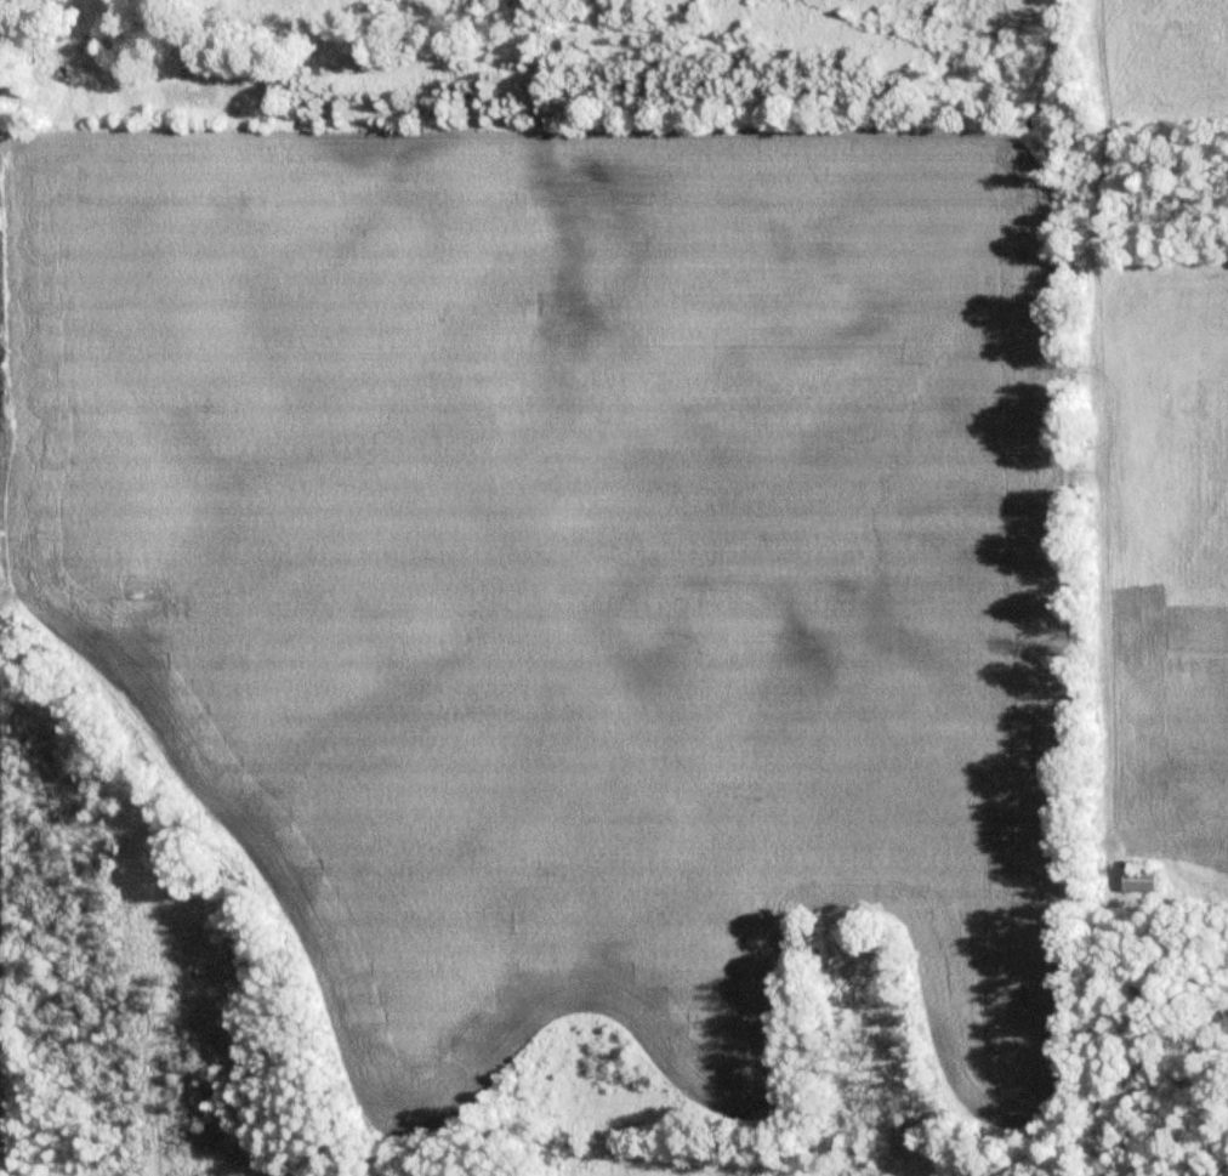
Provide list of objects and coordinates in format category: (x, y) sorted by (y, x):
building: (1138, 881)

